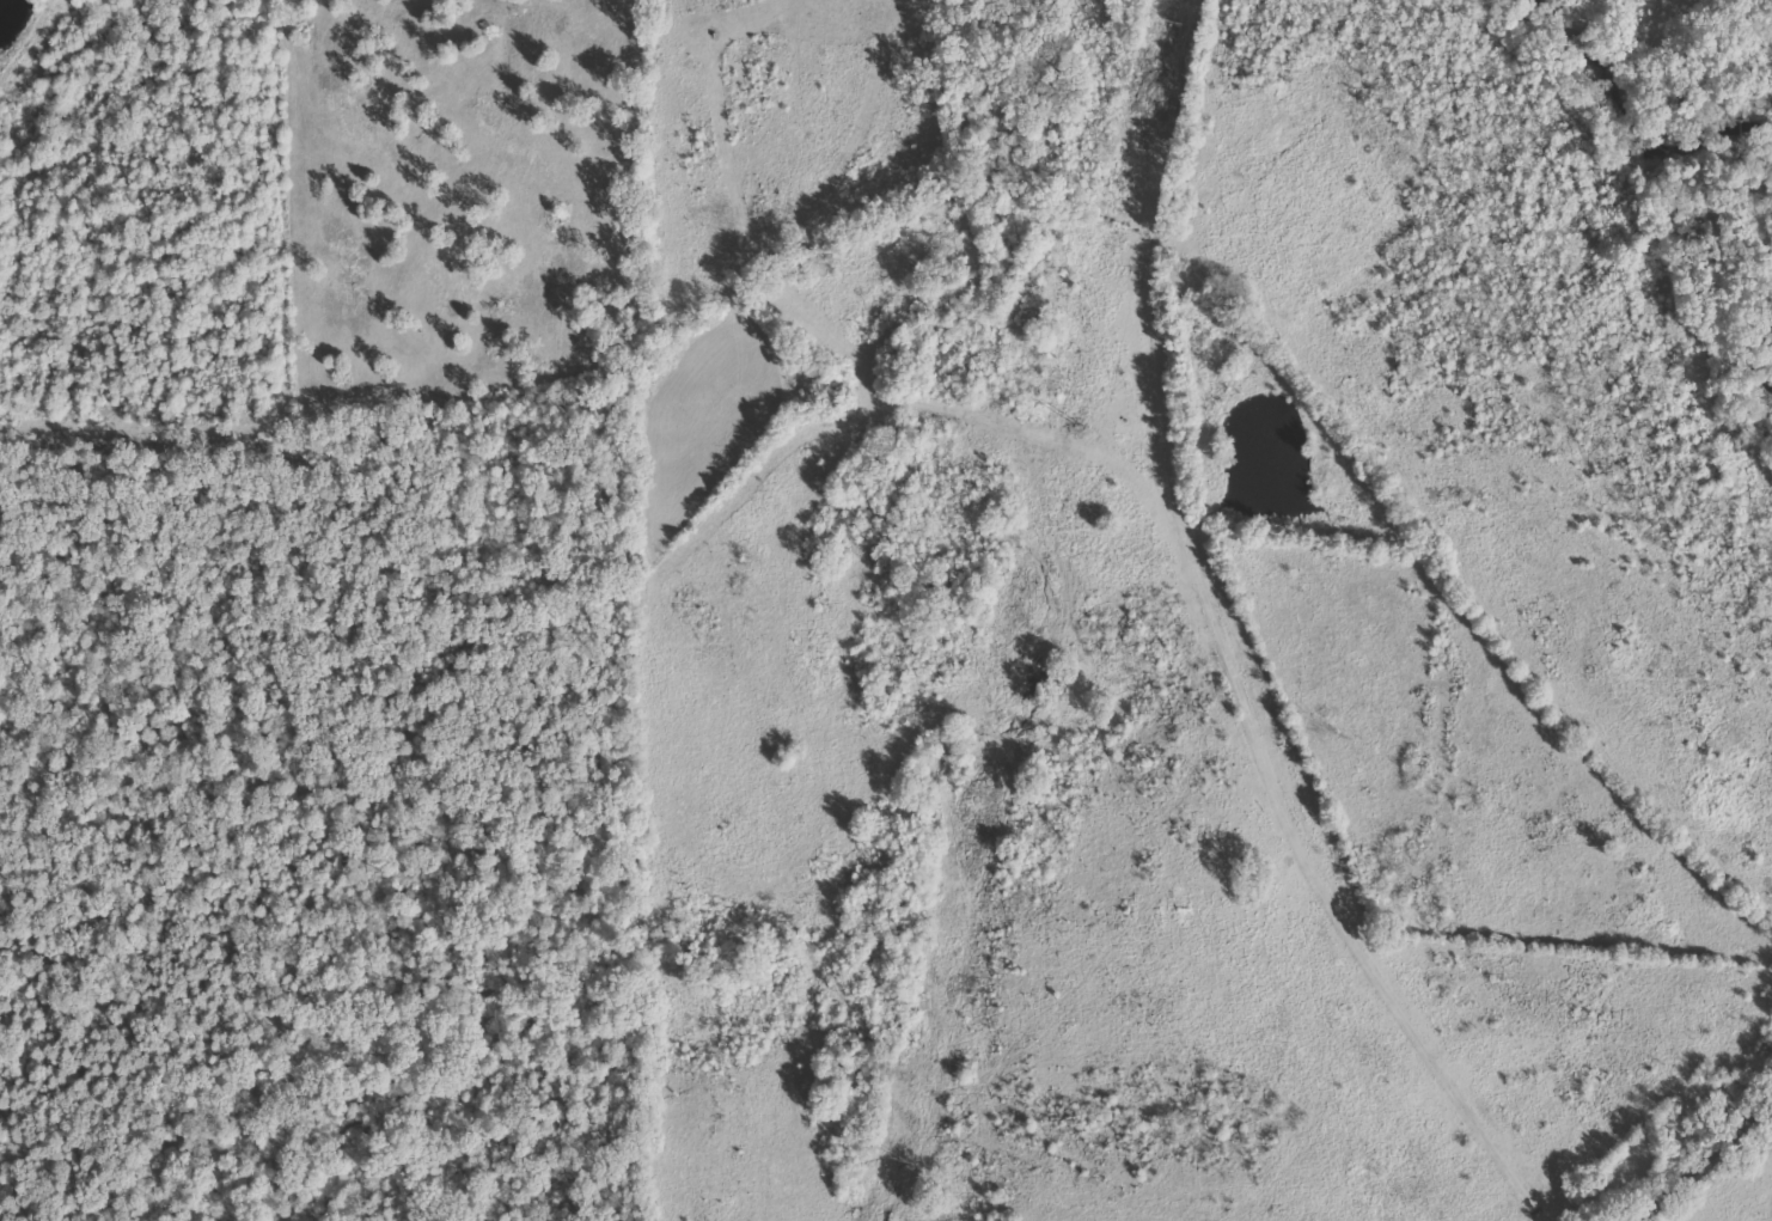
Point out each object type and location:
power tower: (1075, 429)
road: (1686, 1162)

